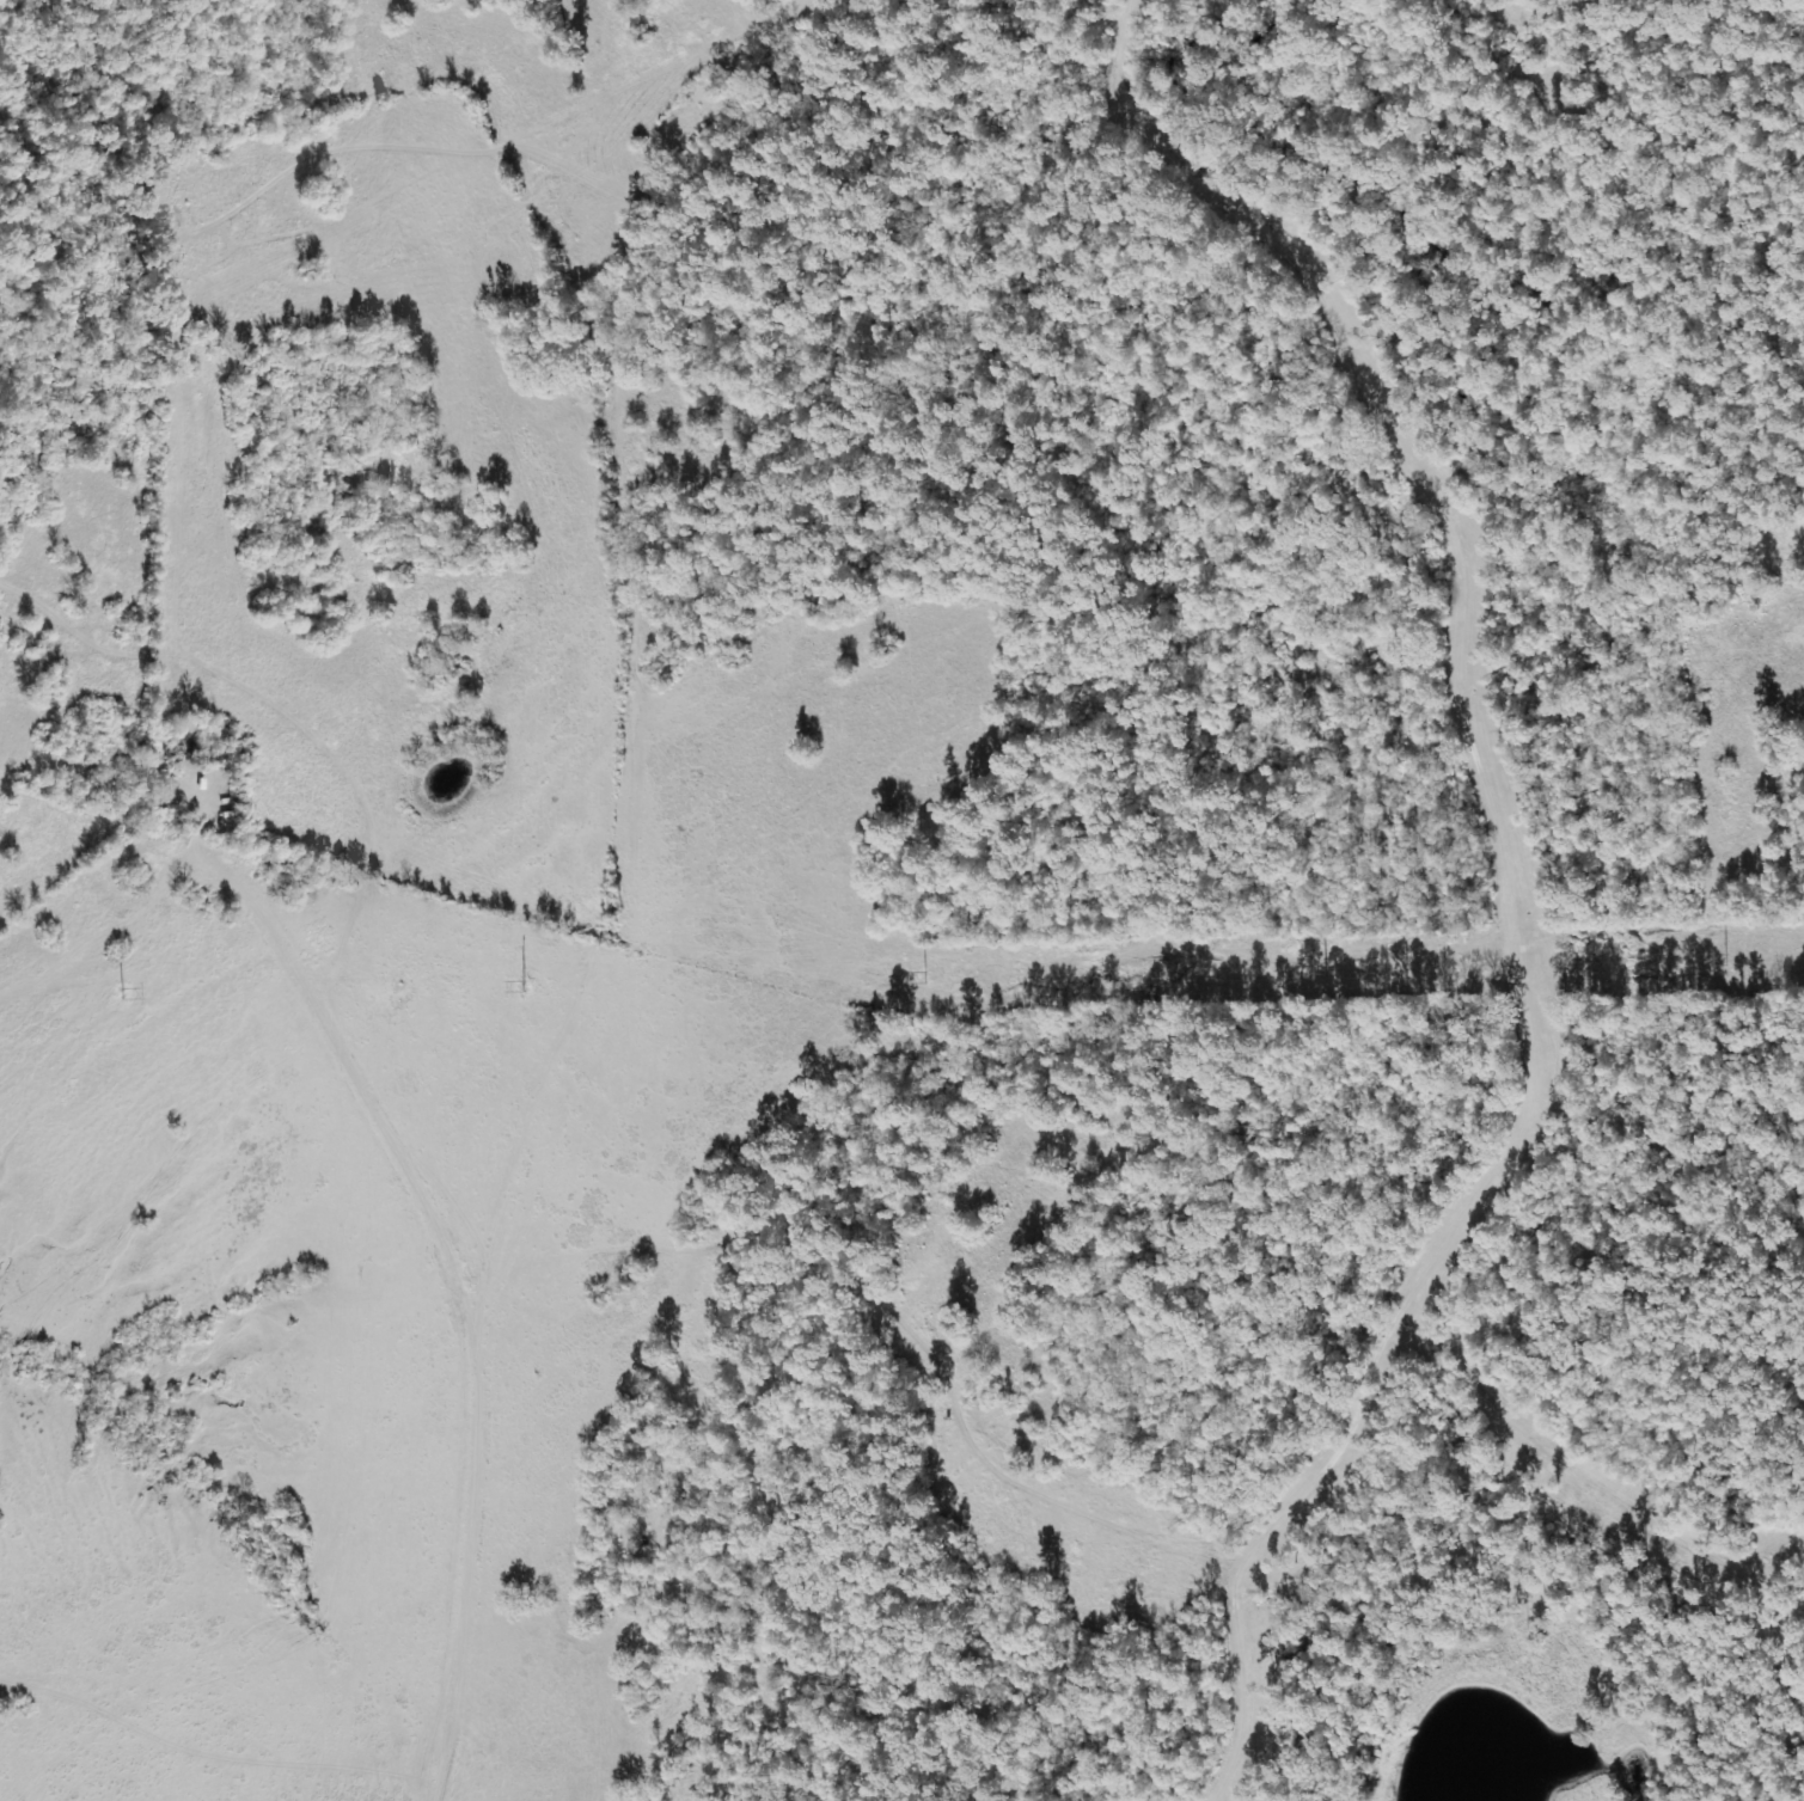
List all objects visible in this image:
building: (173, 759)
road: (1502, 882)
power tower: (1723, 958)
power tower: (1322, 968)
power tower: (923, 976)
power tower: (521, 984)
power tower: (121, 993)

